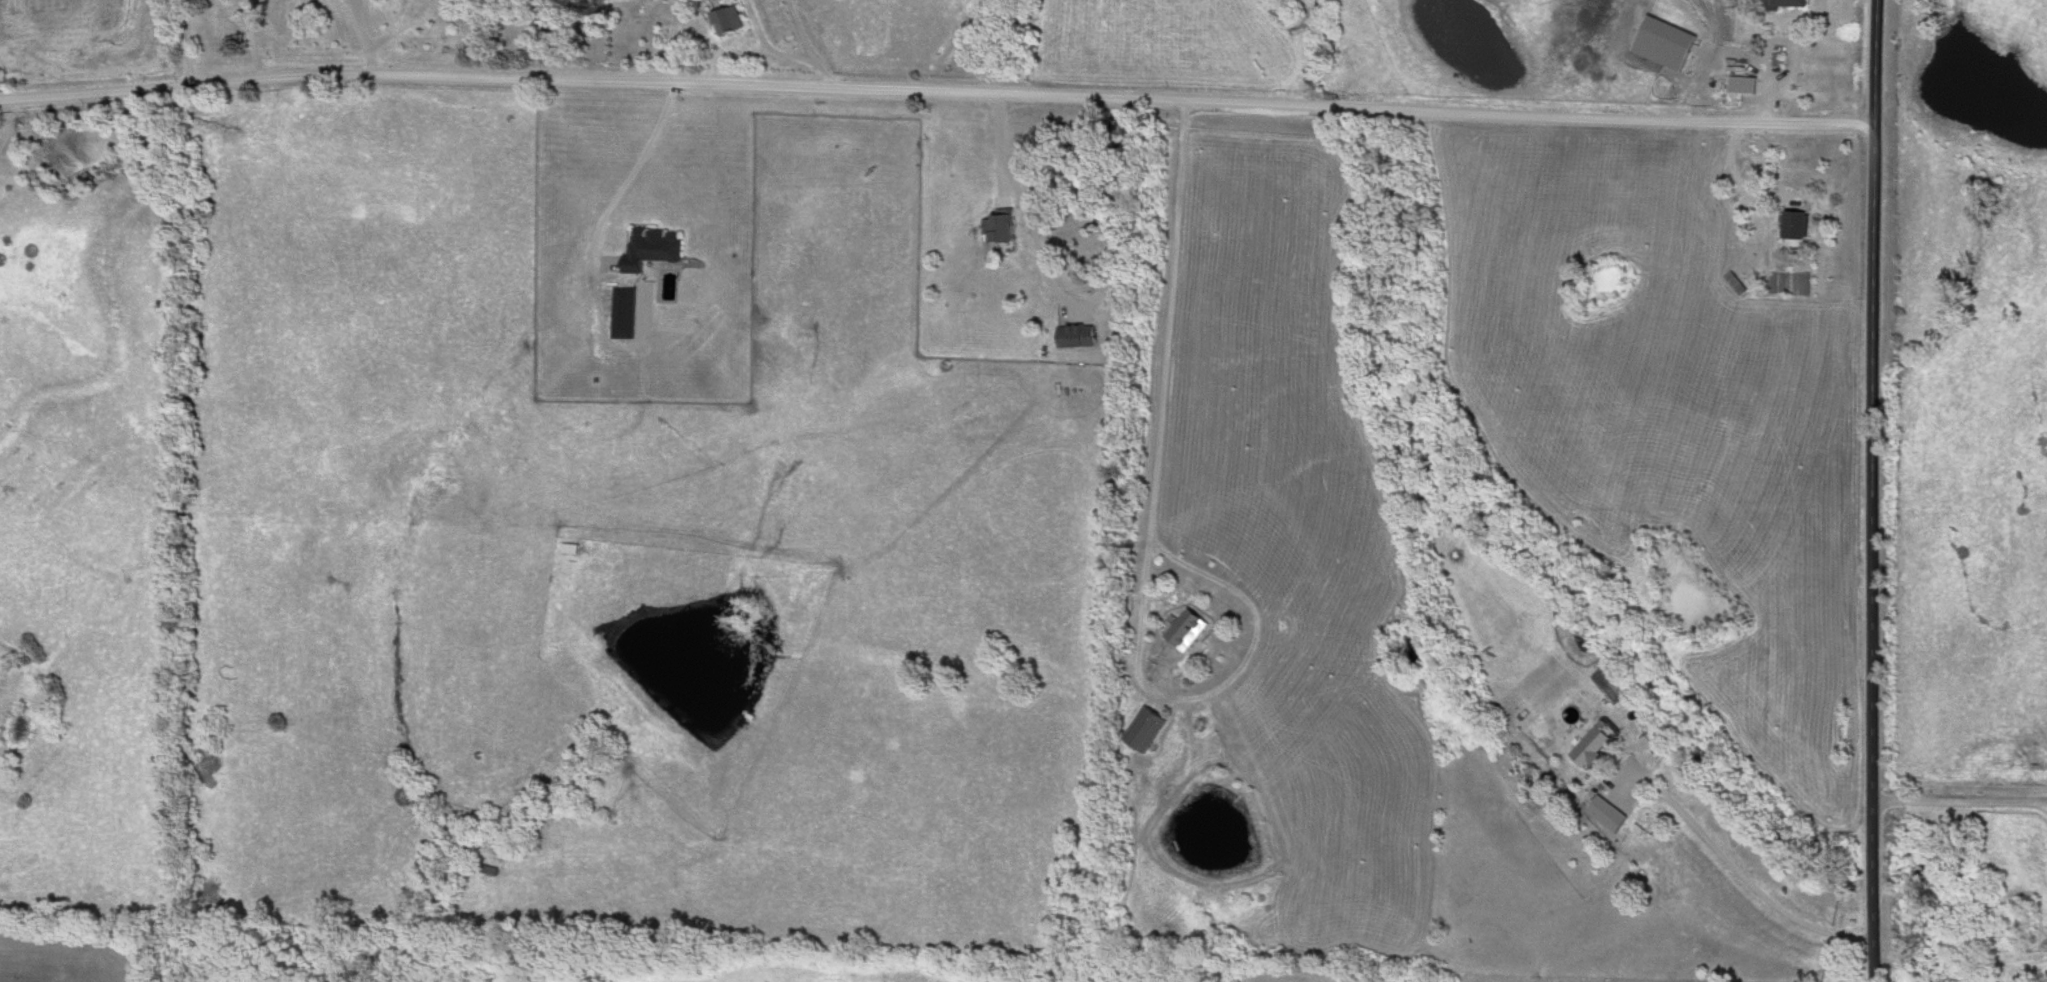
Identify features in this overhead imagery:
building: (1791, 3)
building: (731, 20)
road: (801, 34)
building: (1665, 43)
road: (197, 44)
road: (255, 49)
road: (770, 49)
road: (829, 77)
building: (1744, 86)
road: (938, 93)
road: (629, 174)
building: (1799, 227)
building: (998, 229)
building: (653, 247)
road: (1081, 300)
building: (1075, 337)
road: (1874, 483)
road: (1163, 542)
building: (566, 548)
building: (1188, 630)
building: (1148, 731)
building: (1590, 746)
road: (1961, 805)
building: (1605, 814)
road: (1744, 877)
road: (1875, 975)

